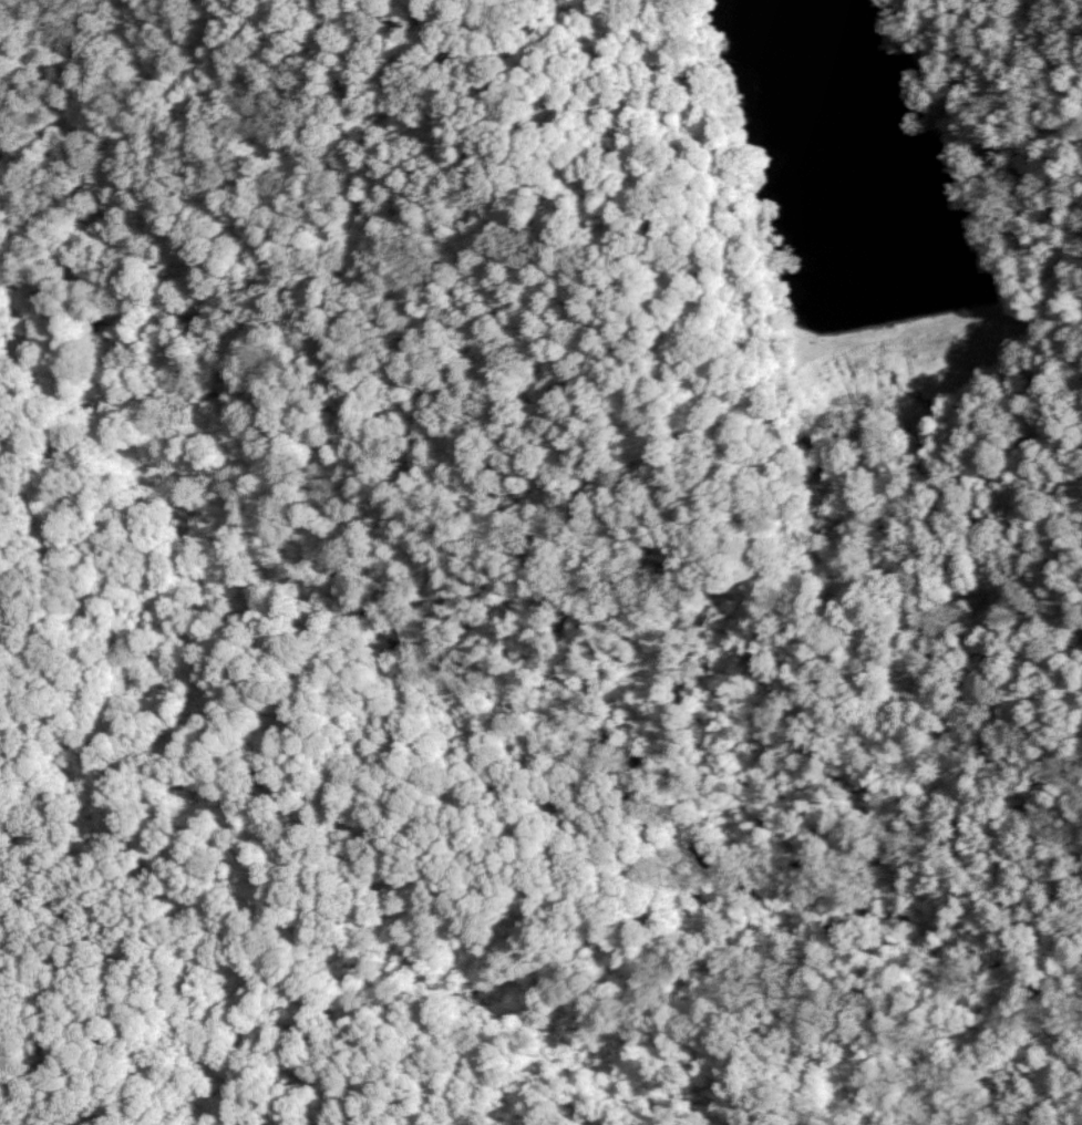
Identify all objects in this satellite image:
road: (1058, 40)

